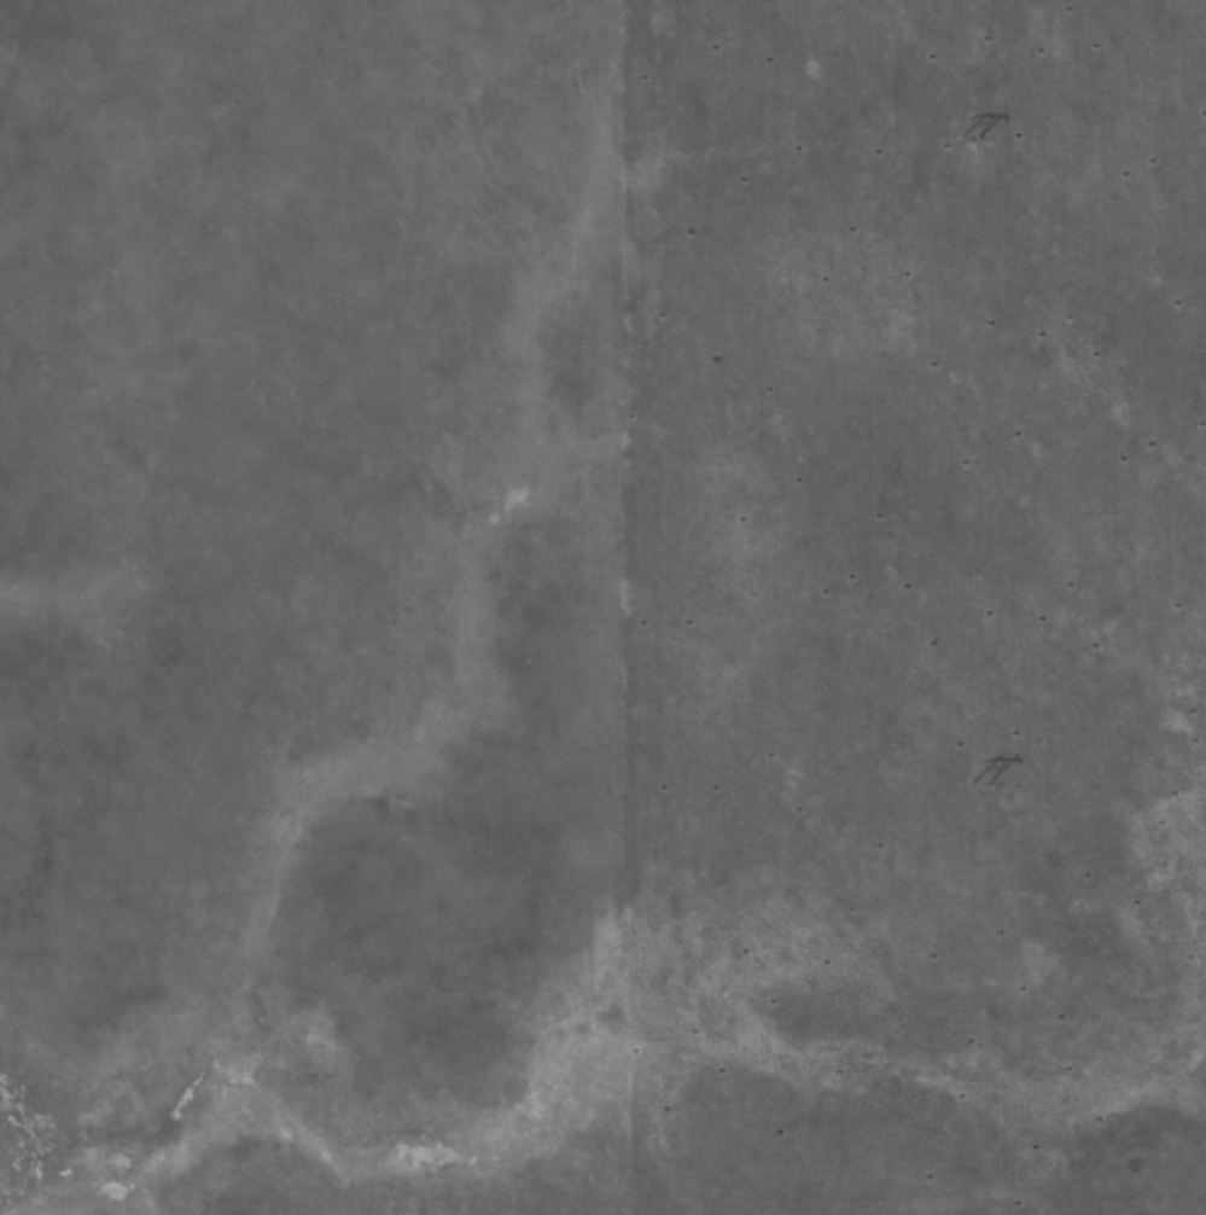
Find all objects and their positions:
power tower: (966, 138)
power tower: (969, 784)

